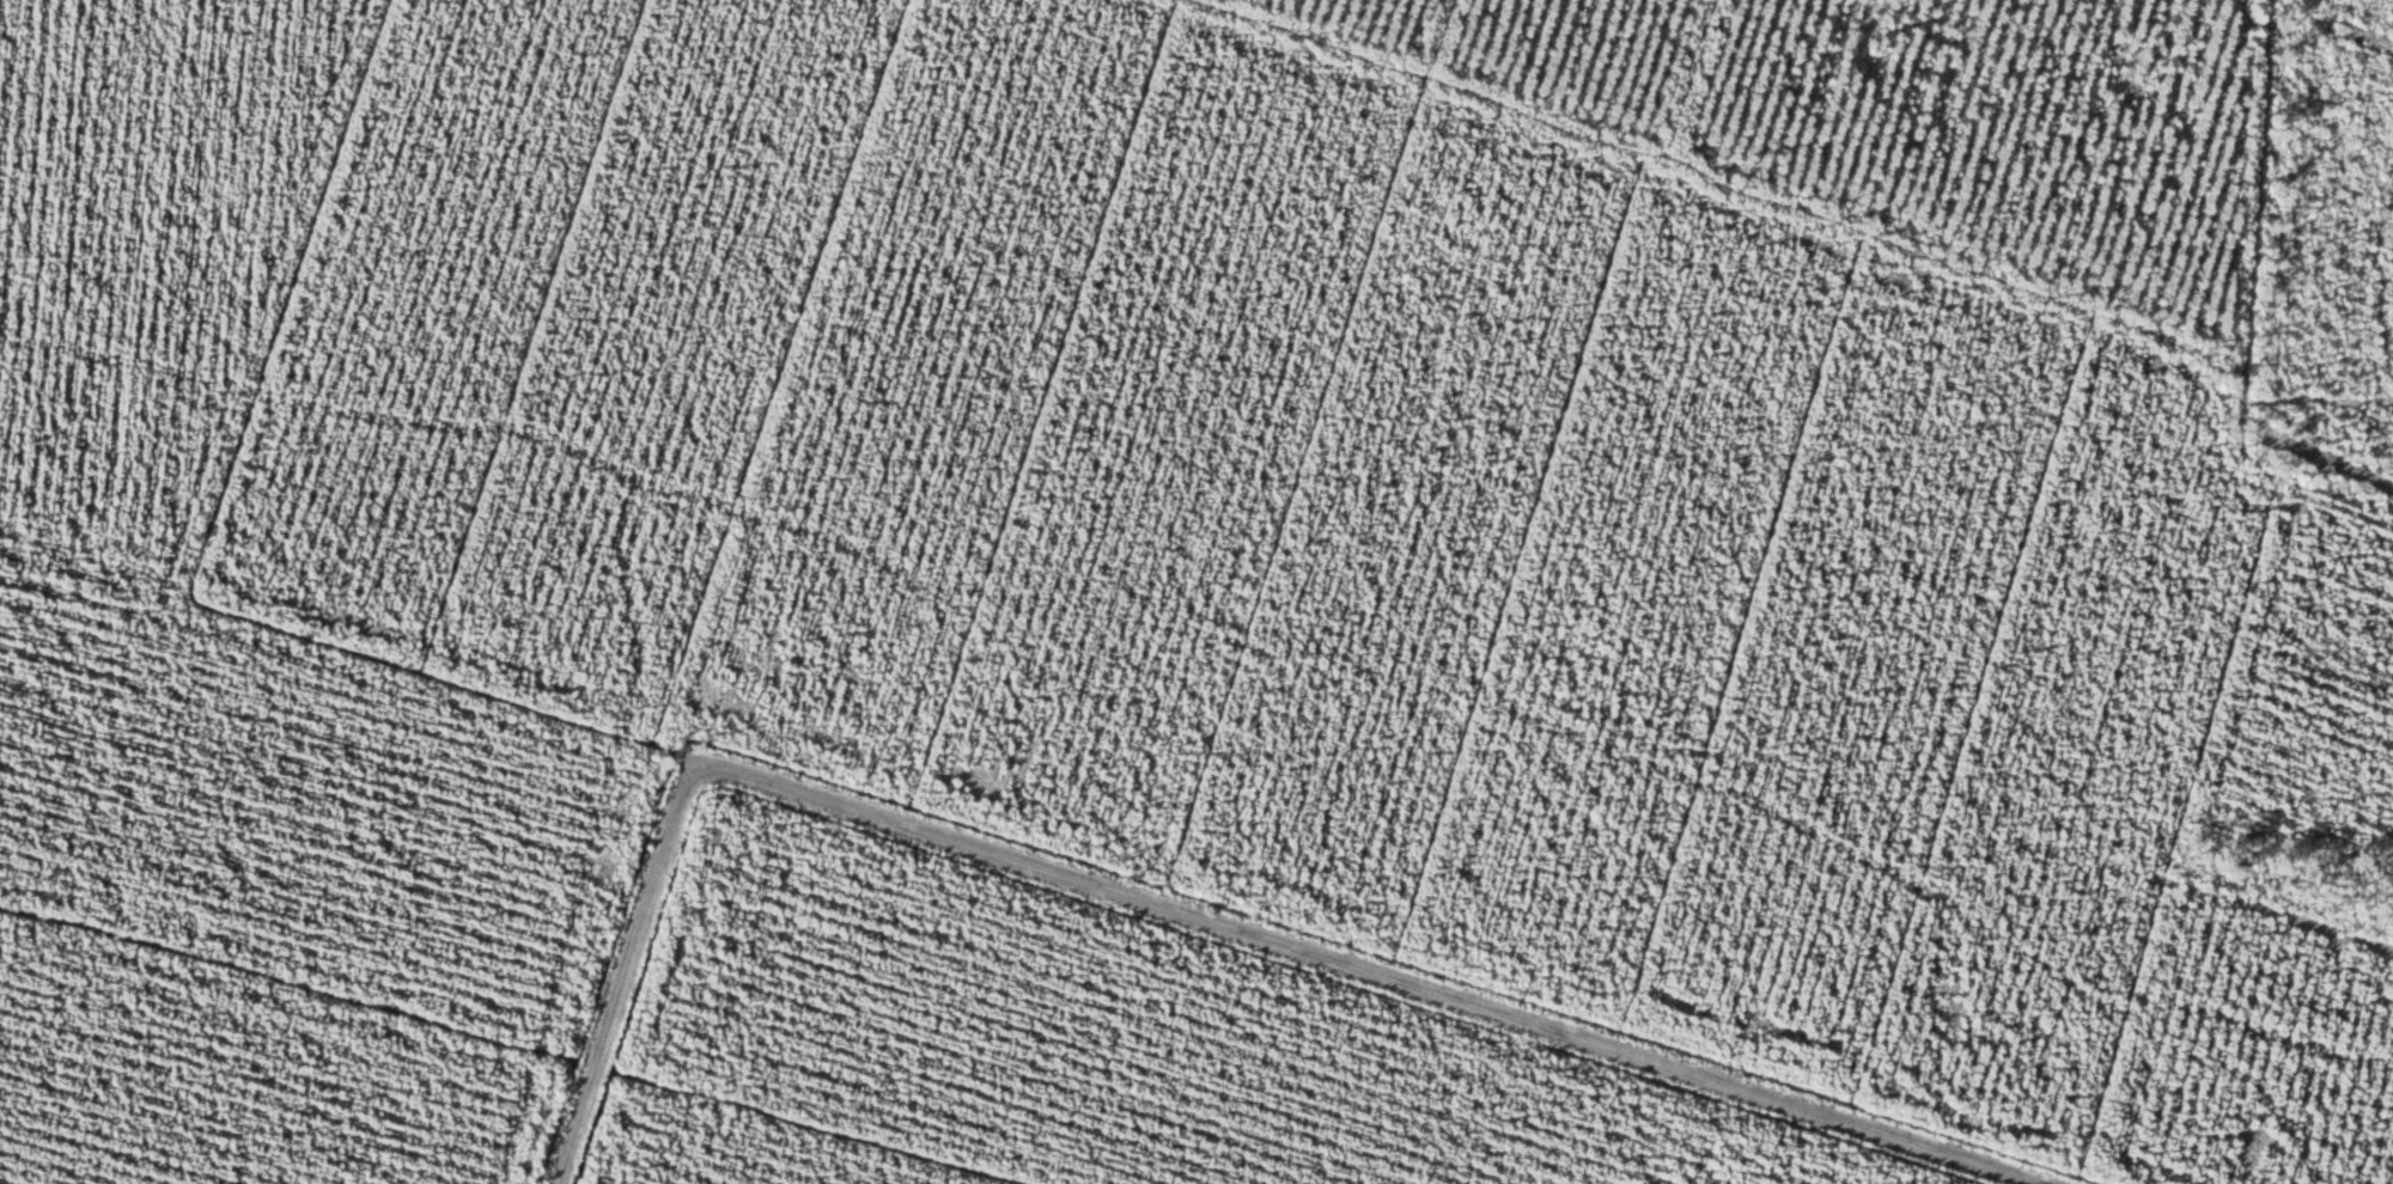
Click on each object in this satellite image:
road: (1188, 886)

